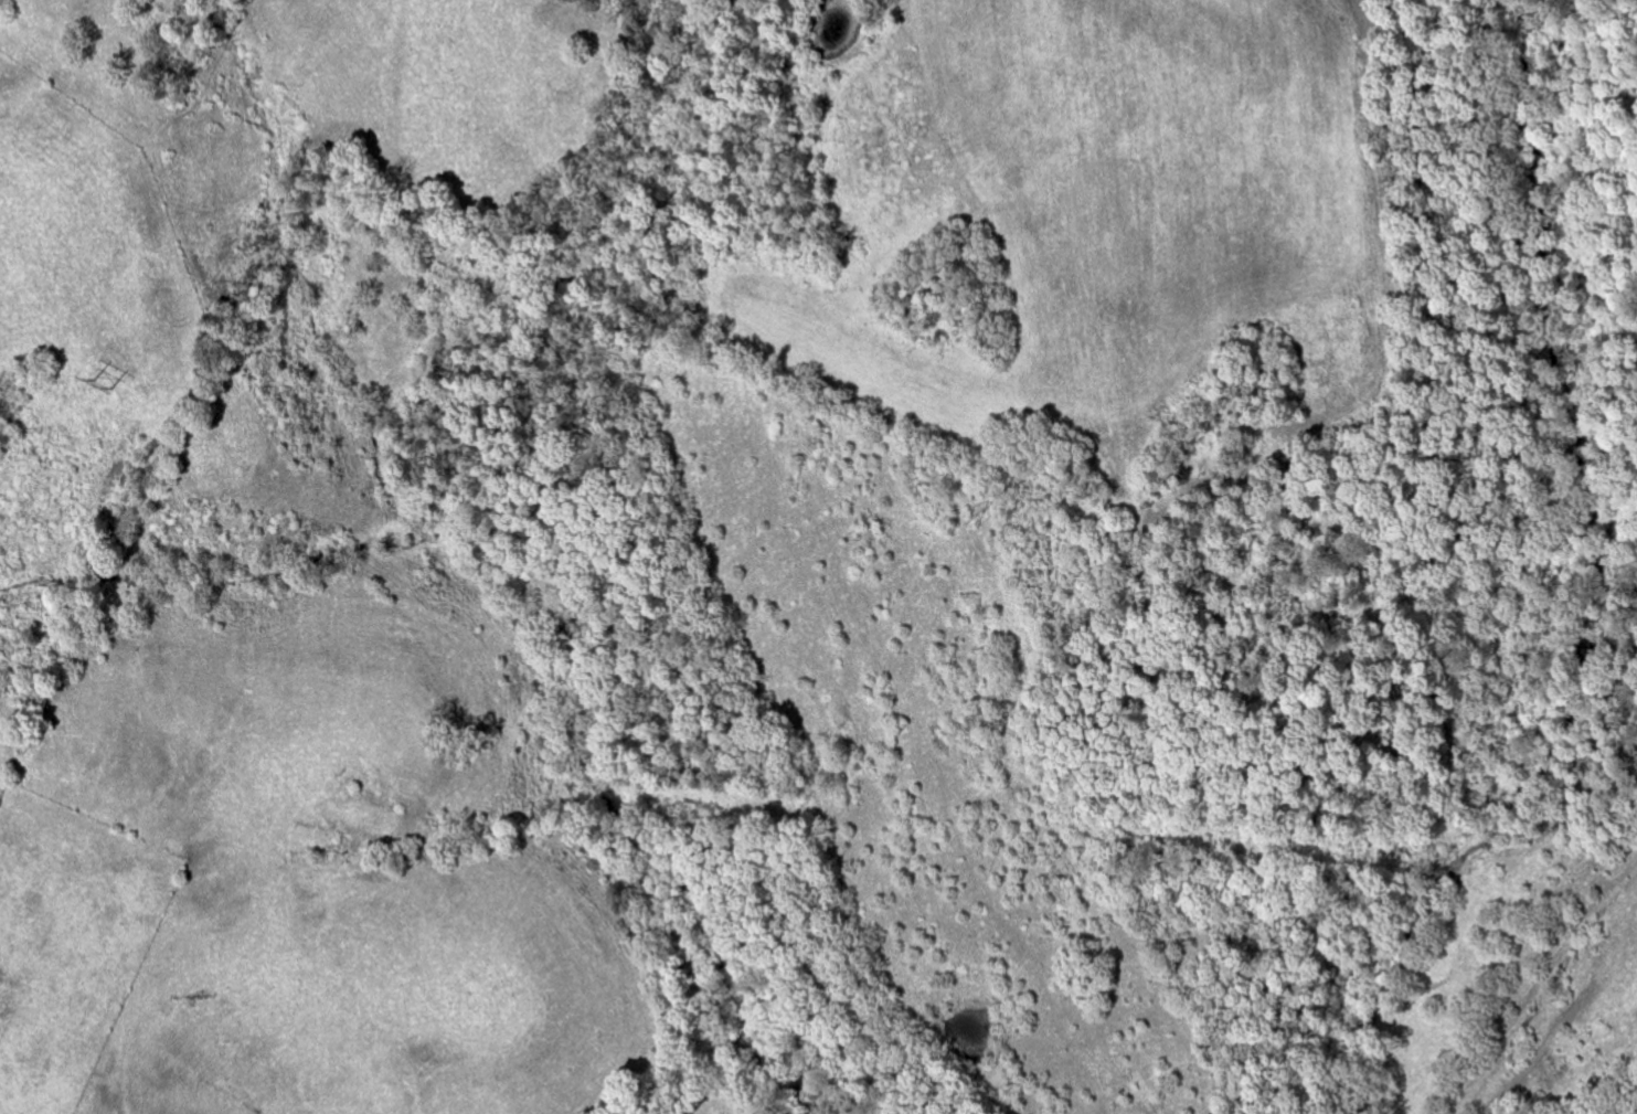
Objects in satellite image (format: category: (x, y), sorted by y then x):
power tower: (97, 384)

